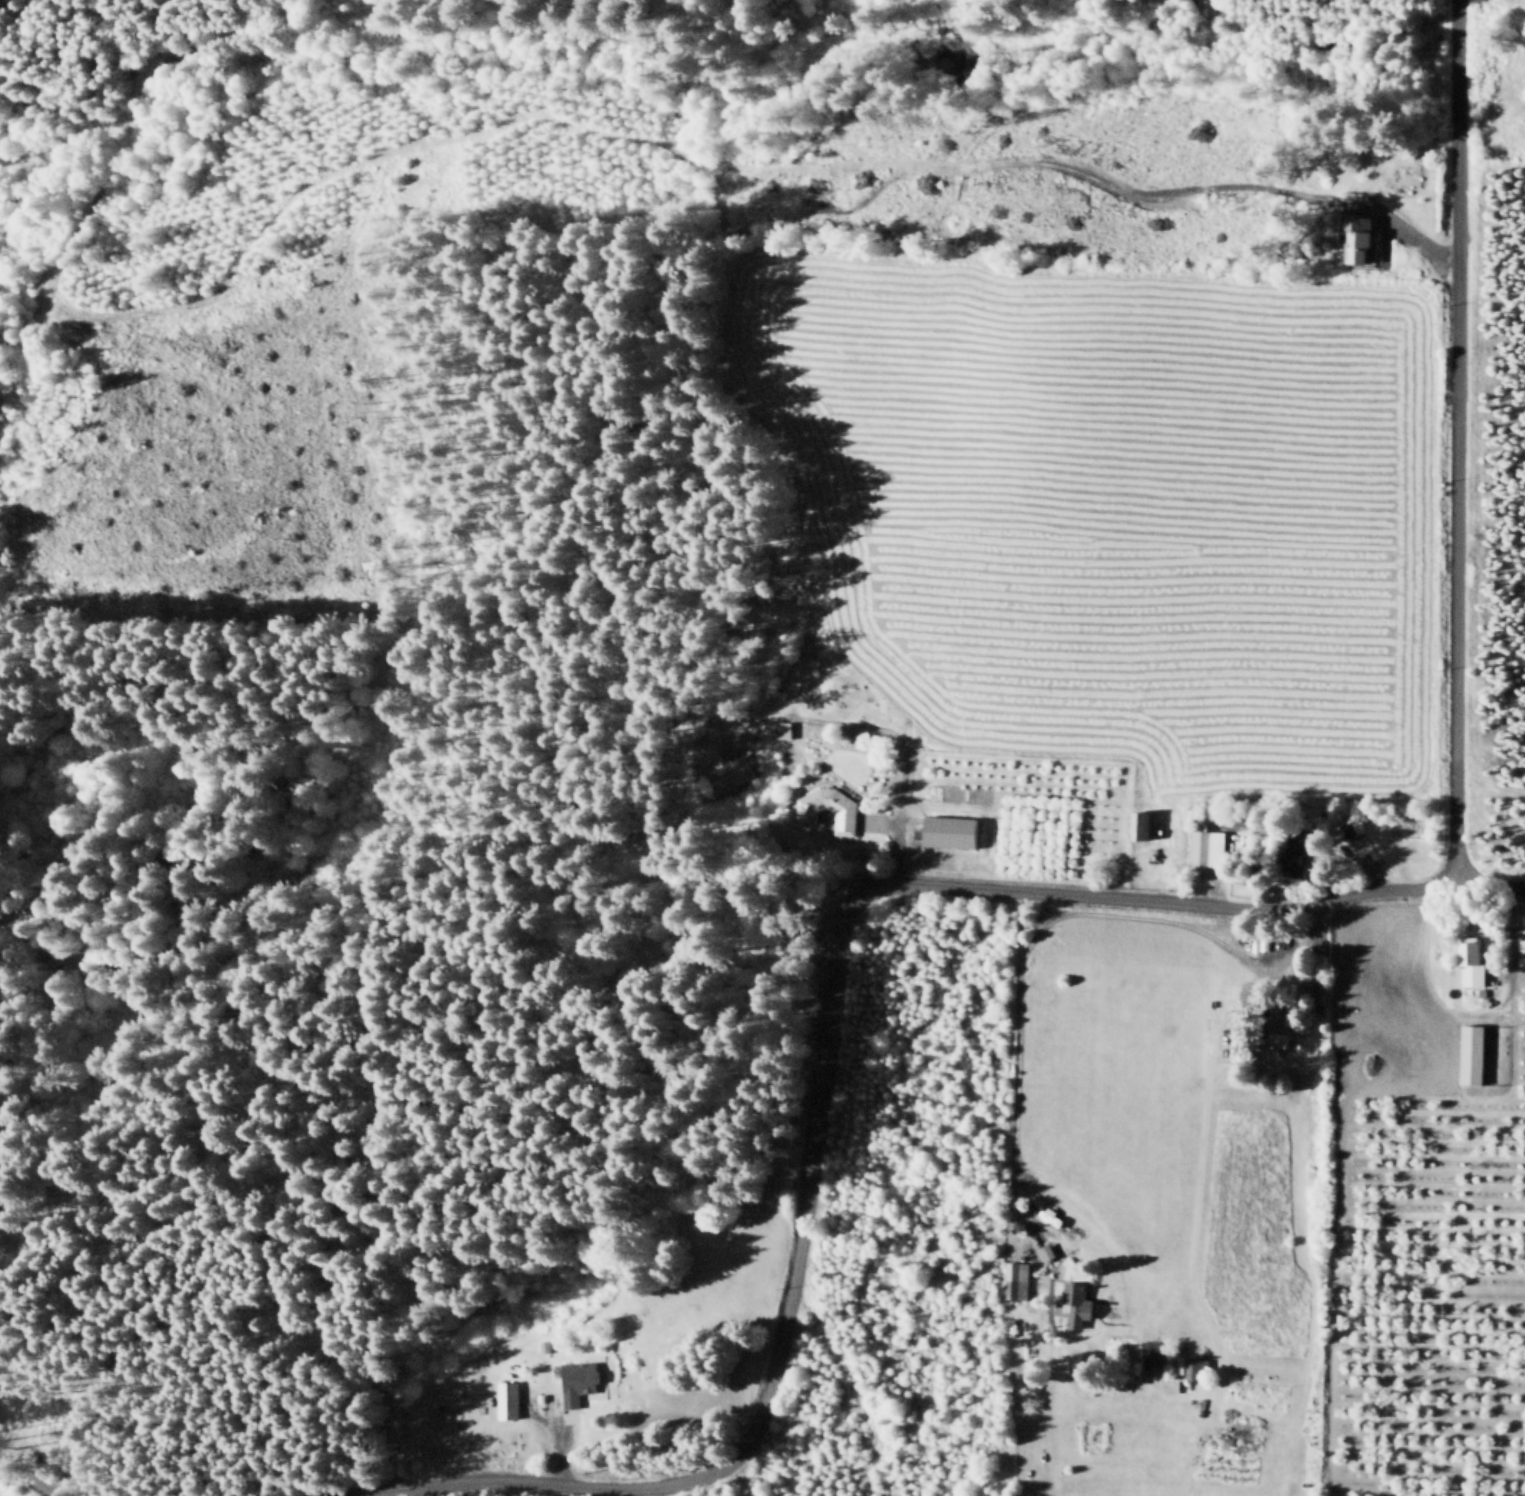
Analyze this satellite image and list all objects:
building: (1202, 10)
building: (1336, 205)
road: (1404, 225)
building: (1341, 232)
building: (1357, 236)
road: (1383, 236)
road: (181, 303)
road: (1454, 441)
crop: (1103, 505)
building: (773, 735)
building: (715, 778)
building: (818, 811)
building: (1349, 823)
building: (1139, 825)
building: (947, 831)
building: (1202, 851)
building: (1290, 855)
road: (1040, 922)
building: (1467, 963)
building: (1305, 989)
building: (1486, 997)
building: (1274, 1032)
road: (827, 1034)
building: (1466, 1054)
crop: (1105, 1077)
building: (1012, 1276)
building: (1071, 1302)
building: (1007, 1324)
building: (1193, 1366)
building: (575, 1380)
building: (505, 1398)
road: (27, 1481)

